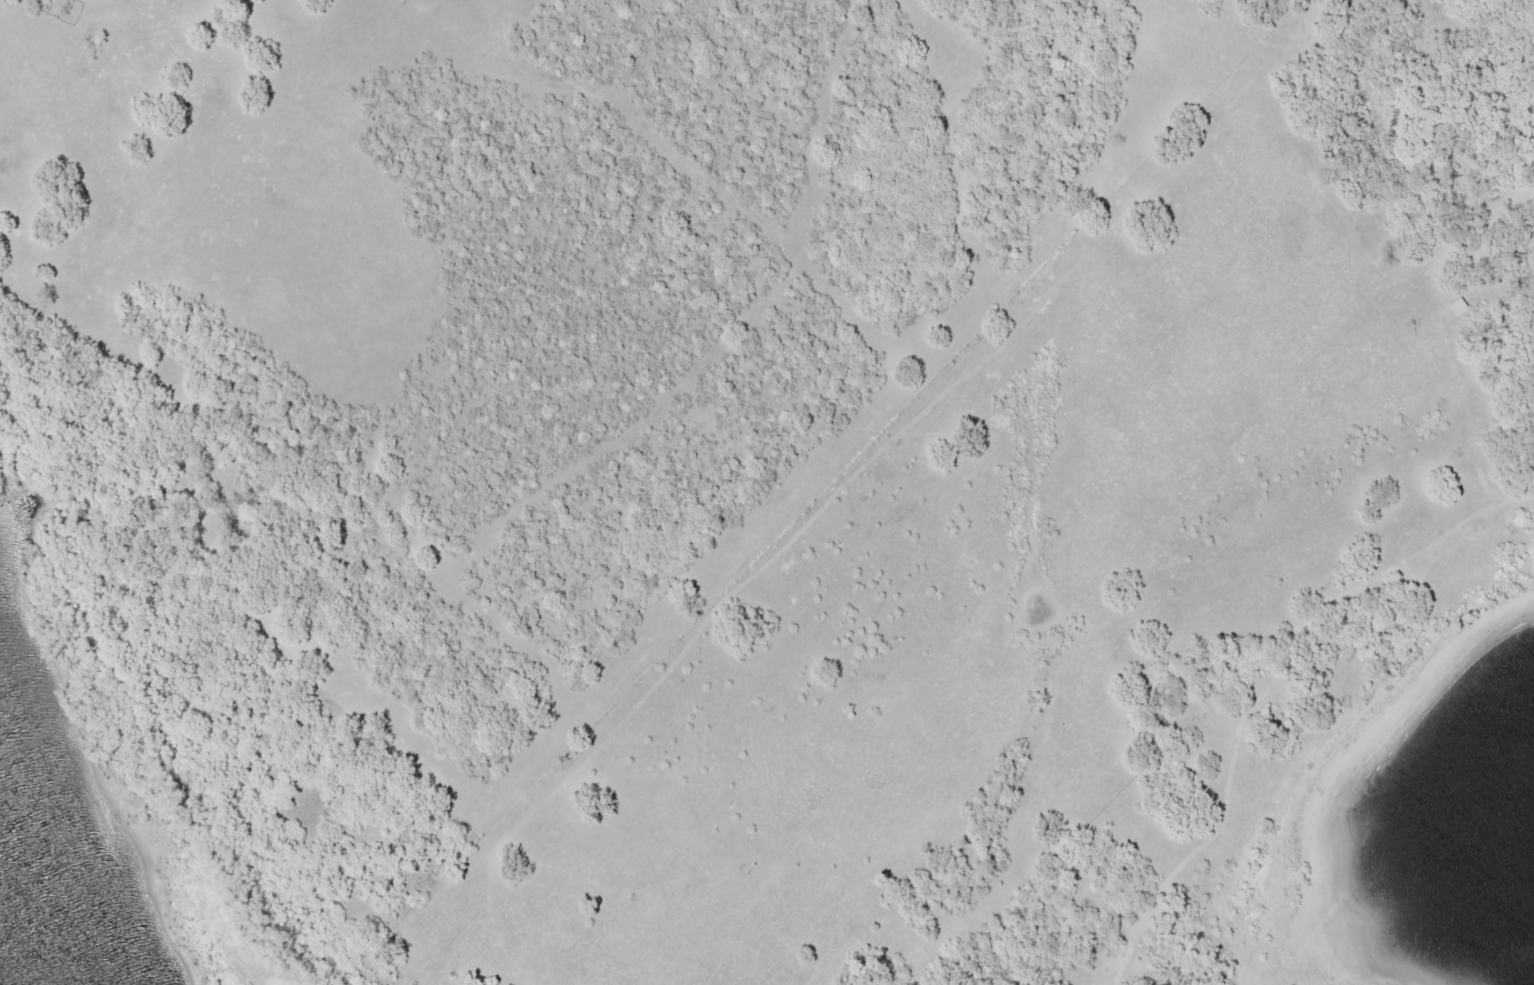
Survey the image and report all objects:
road: (423, 2)
river: (52, 872)

